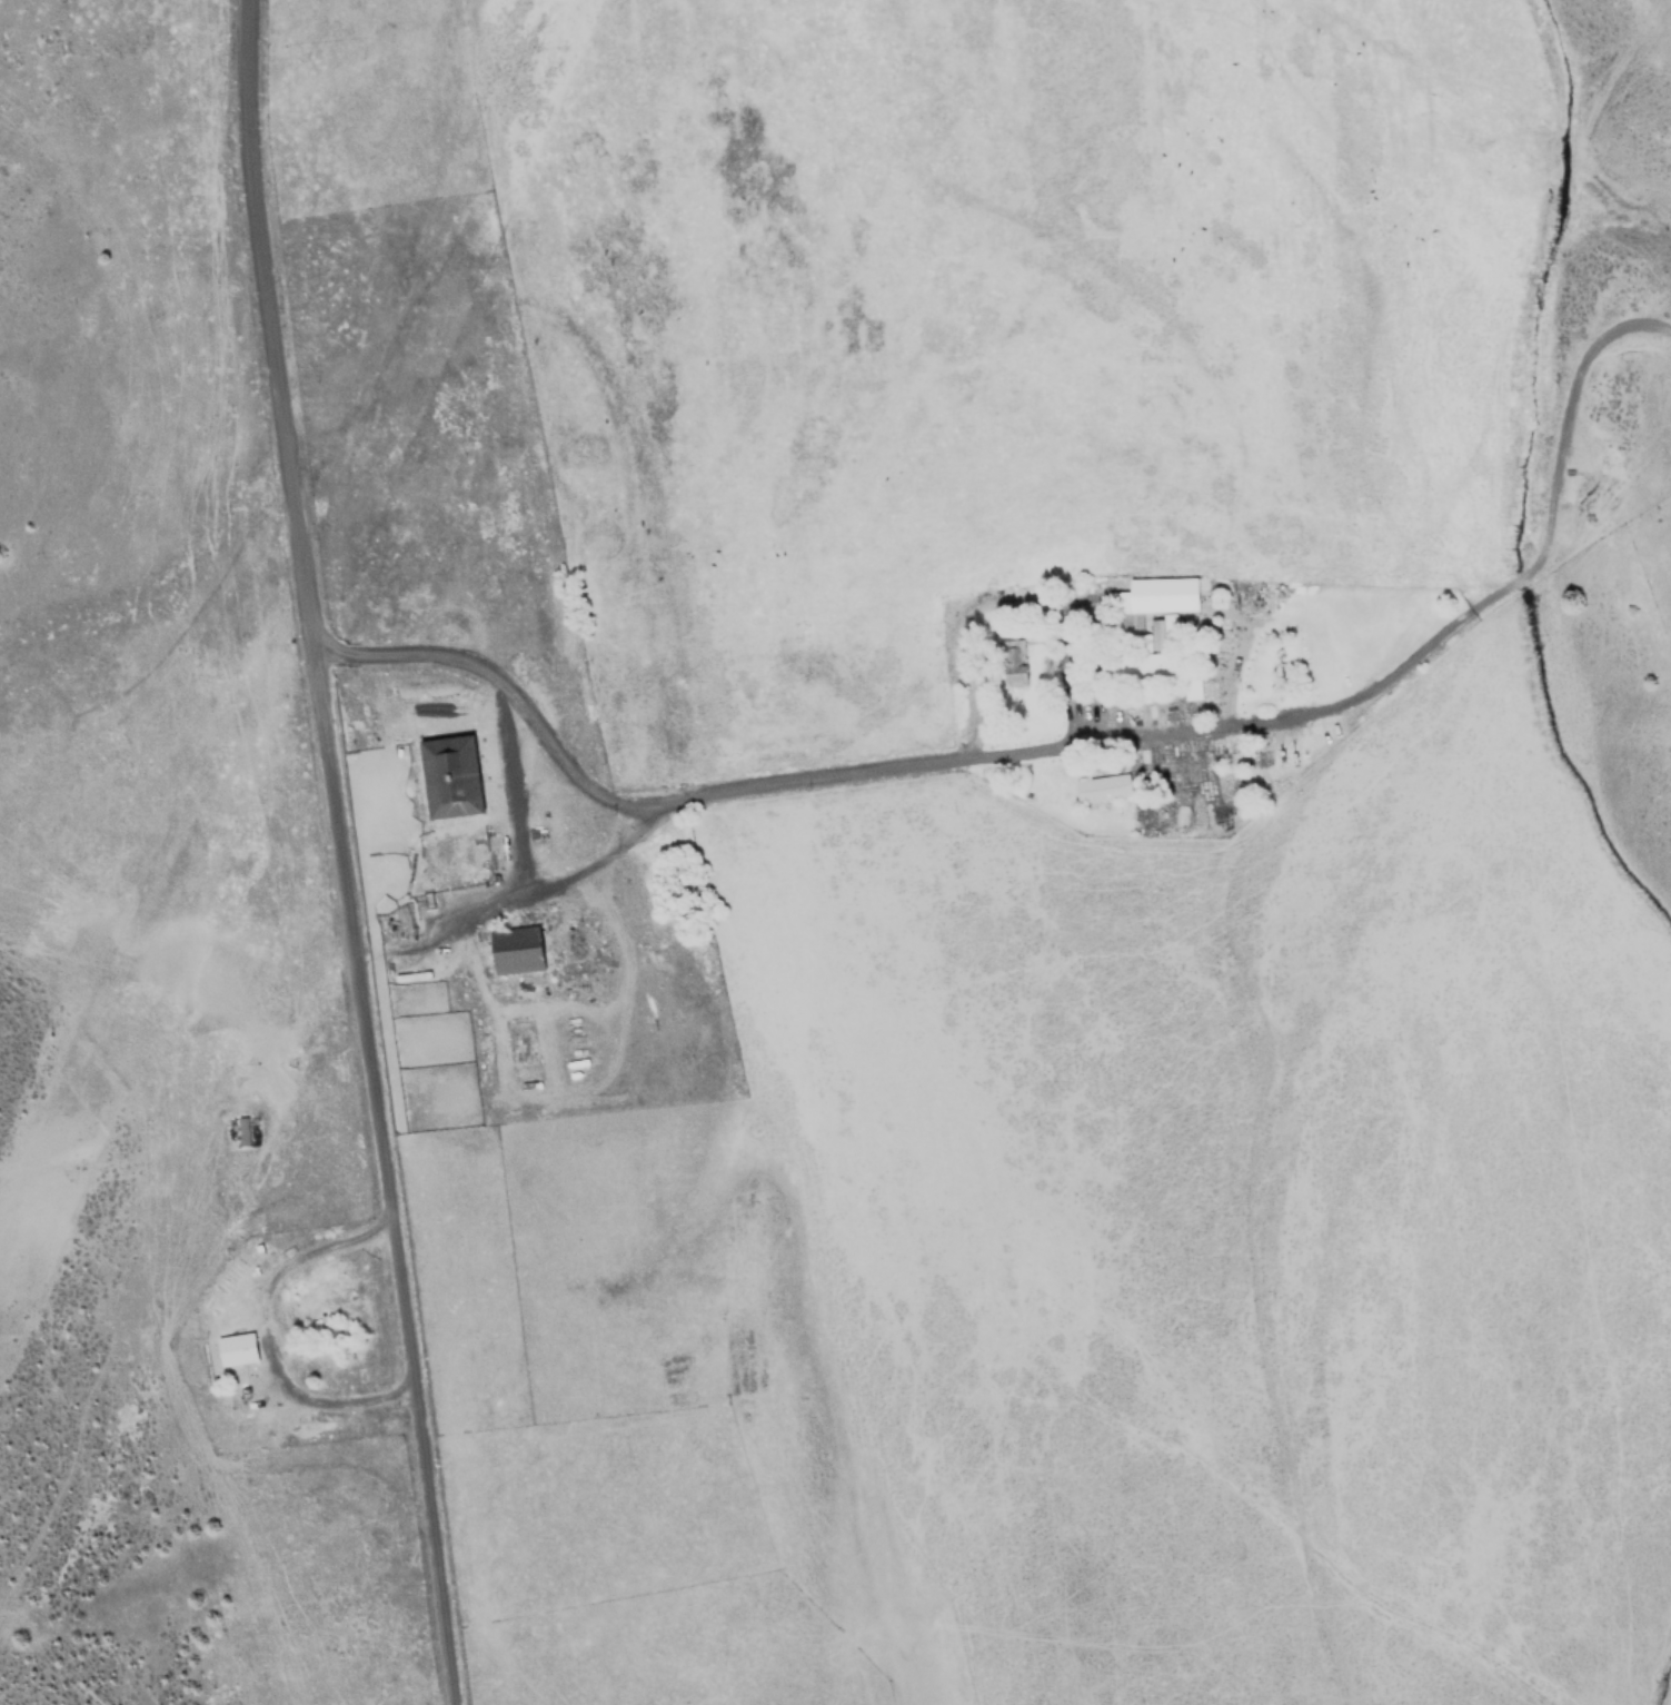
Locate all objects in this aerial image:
building: (1148, 655)
road: (1071, 746)
building: (452, 777)
building: (1105, 789)
road: (341, 852)
building: (524, 949)
building: (241, 1133)
building: (239, 1349)

